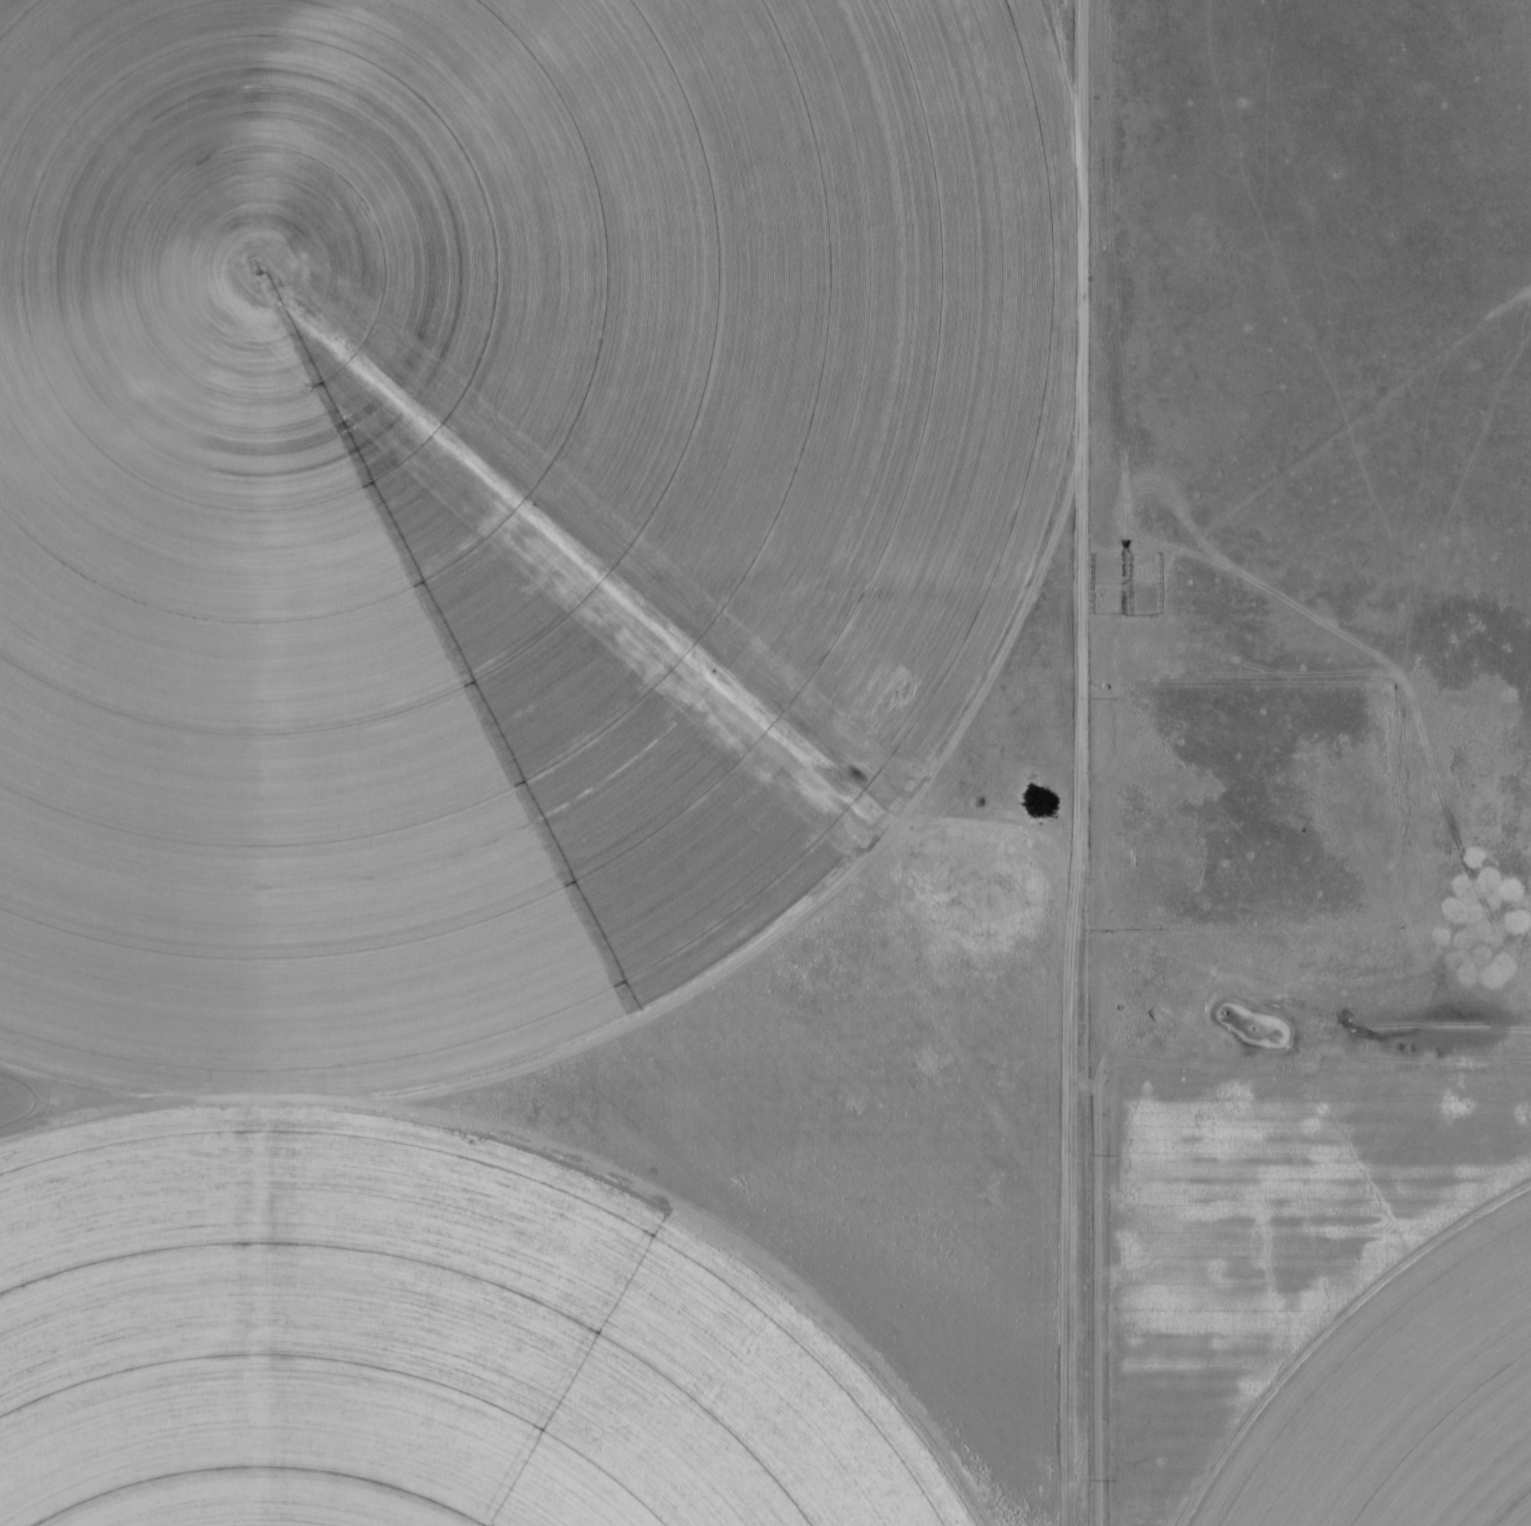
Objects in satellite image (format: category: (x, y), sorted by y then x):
road: (1084, 763)

